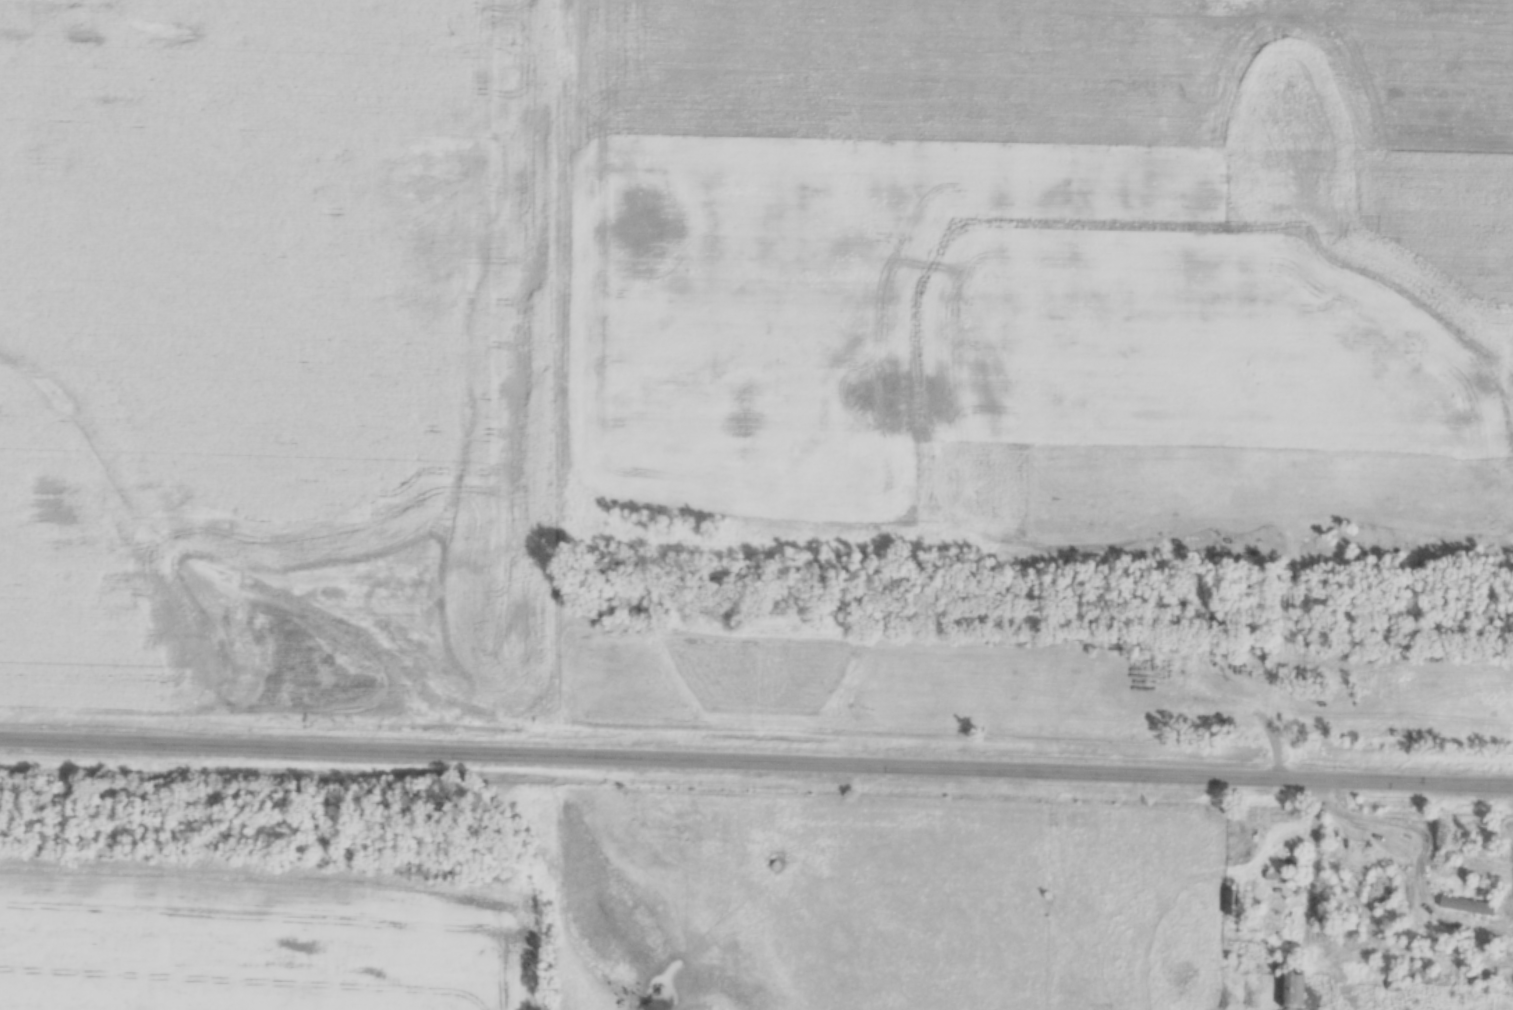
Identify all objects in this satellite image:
road: (756, 762)
road: (1308, 870)
building: (1284, 878)
building: (1390, 890)
building: (1234, 903)
building: (1294, 990)

